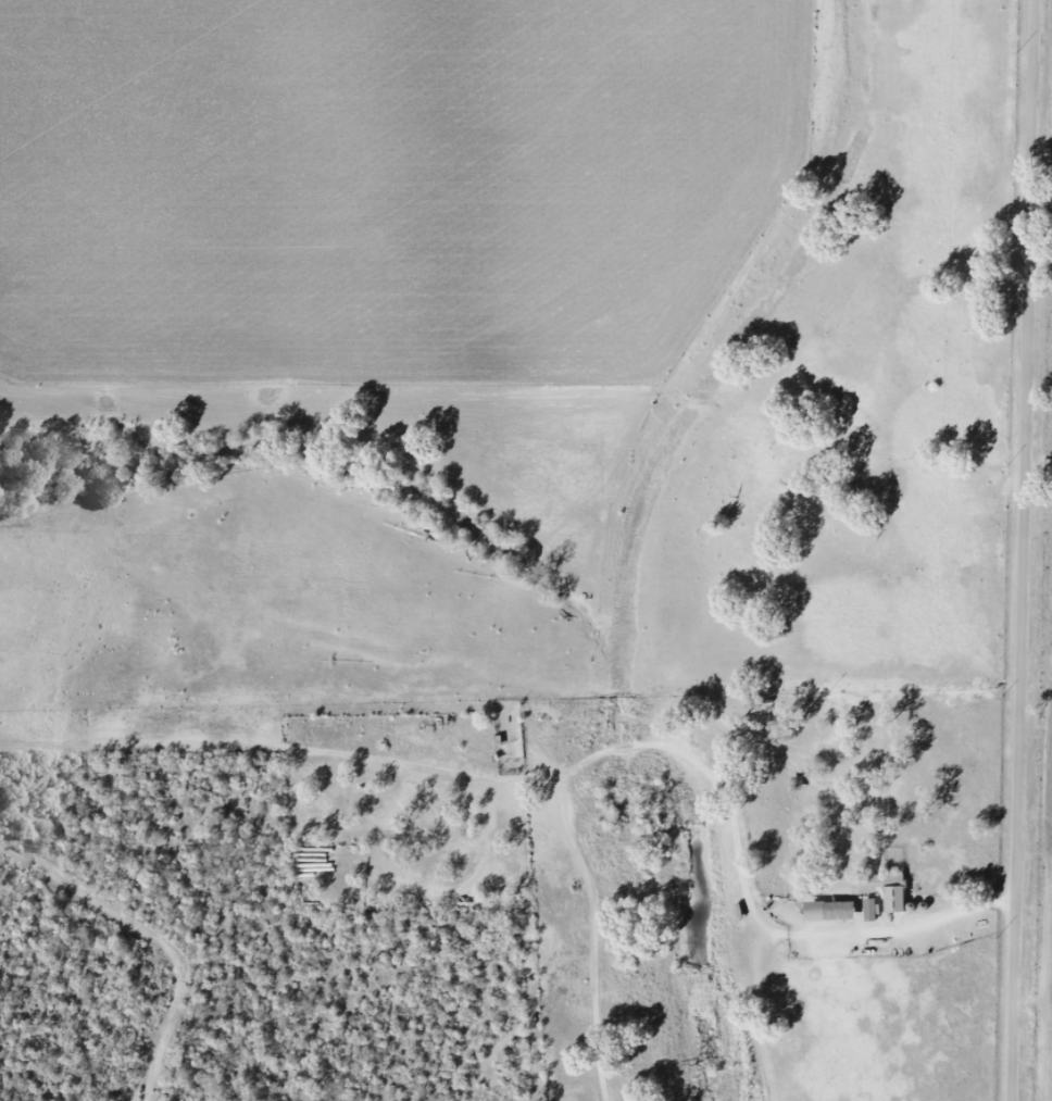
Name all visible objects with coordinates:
road: (1026, 550)
road: (913, 724)
road: (682, 752)
building: (893, 893)
building: (869, 911)
building: (829, 912)

